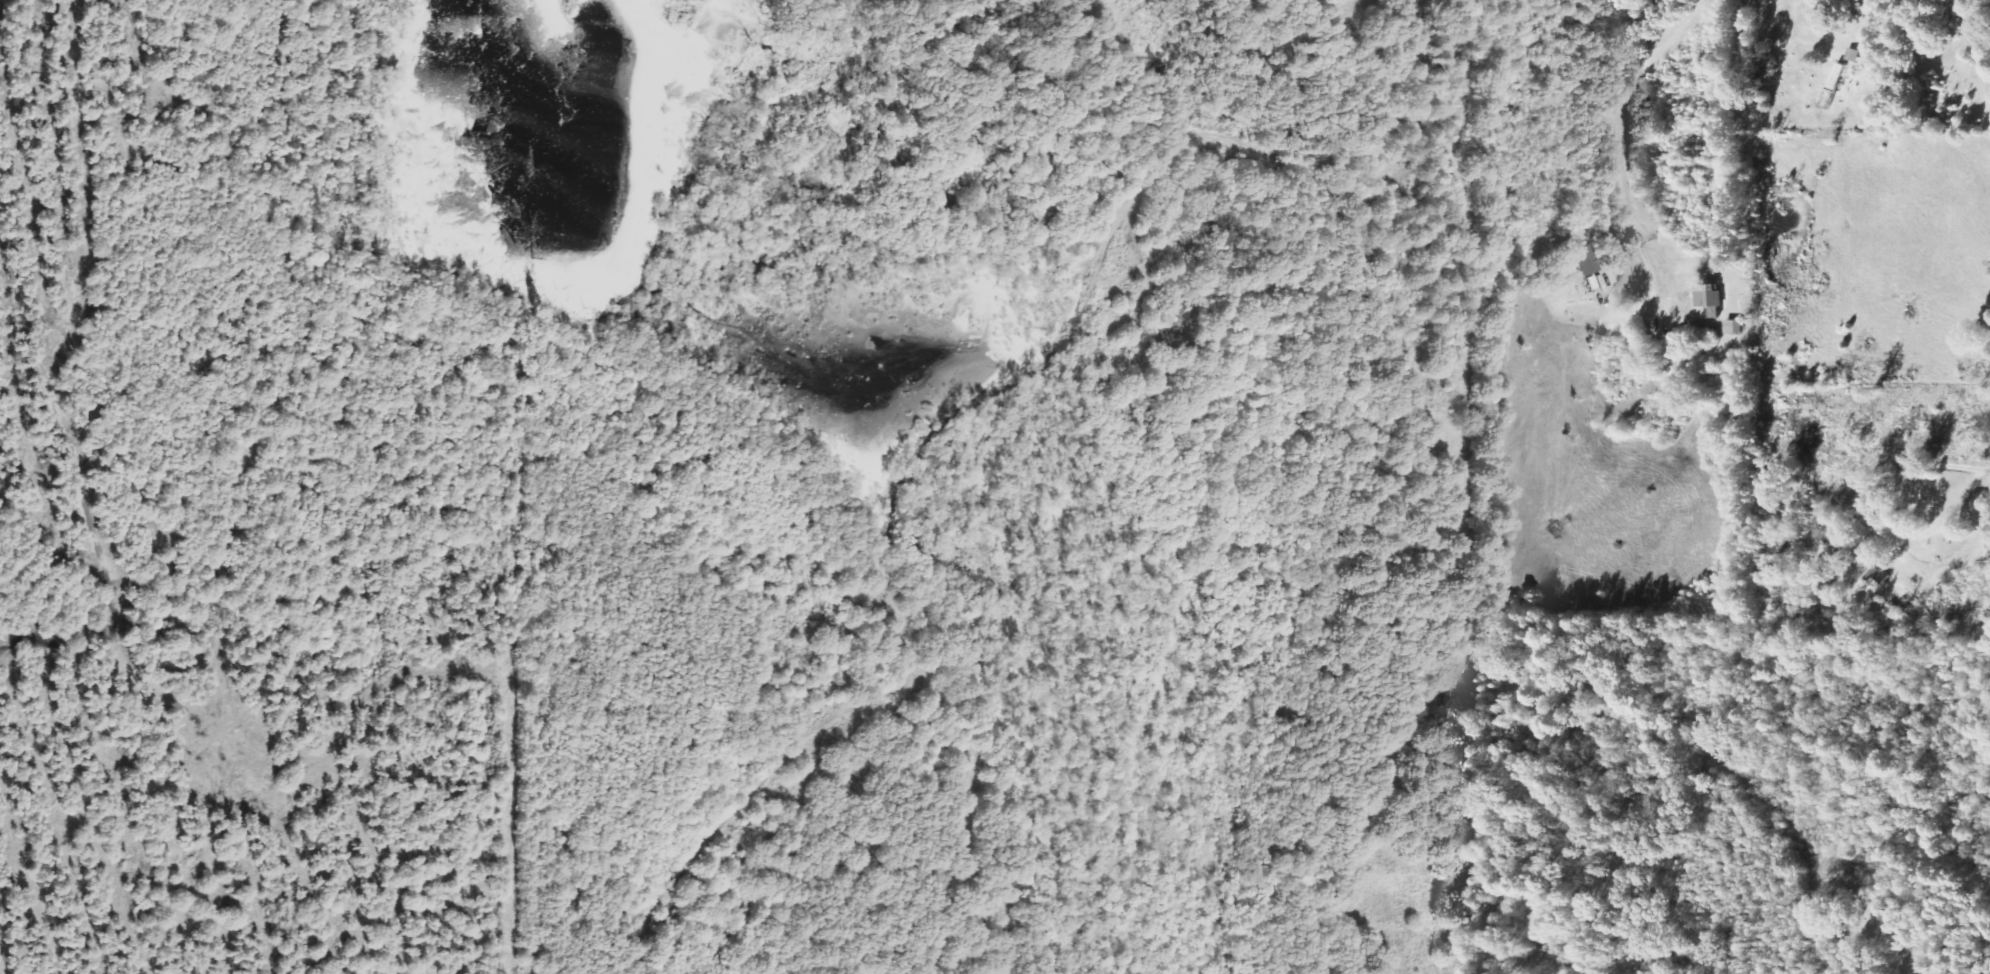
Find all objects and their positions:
building: (1585, 259)
building: (1707, 300)
building: (1733, 325)
building: (1867, 561)

